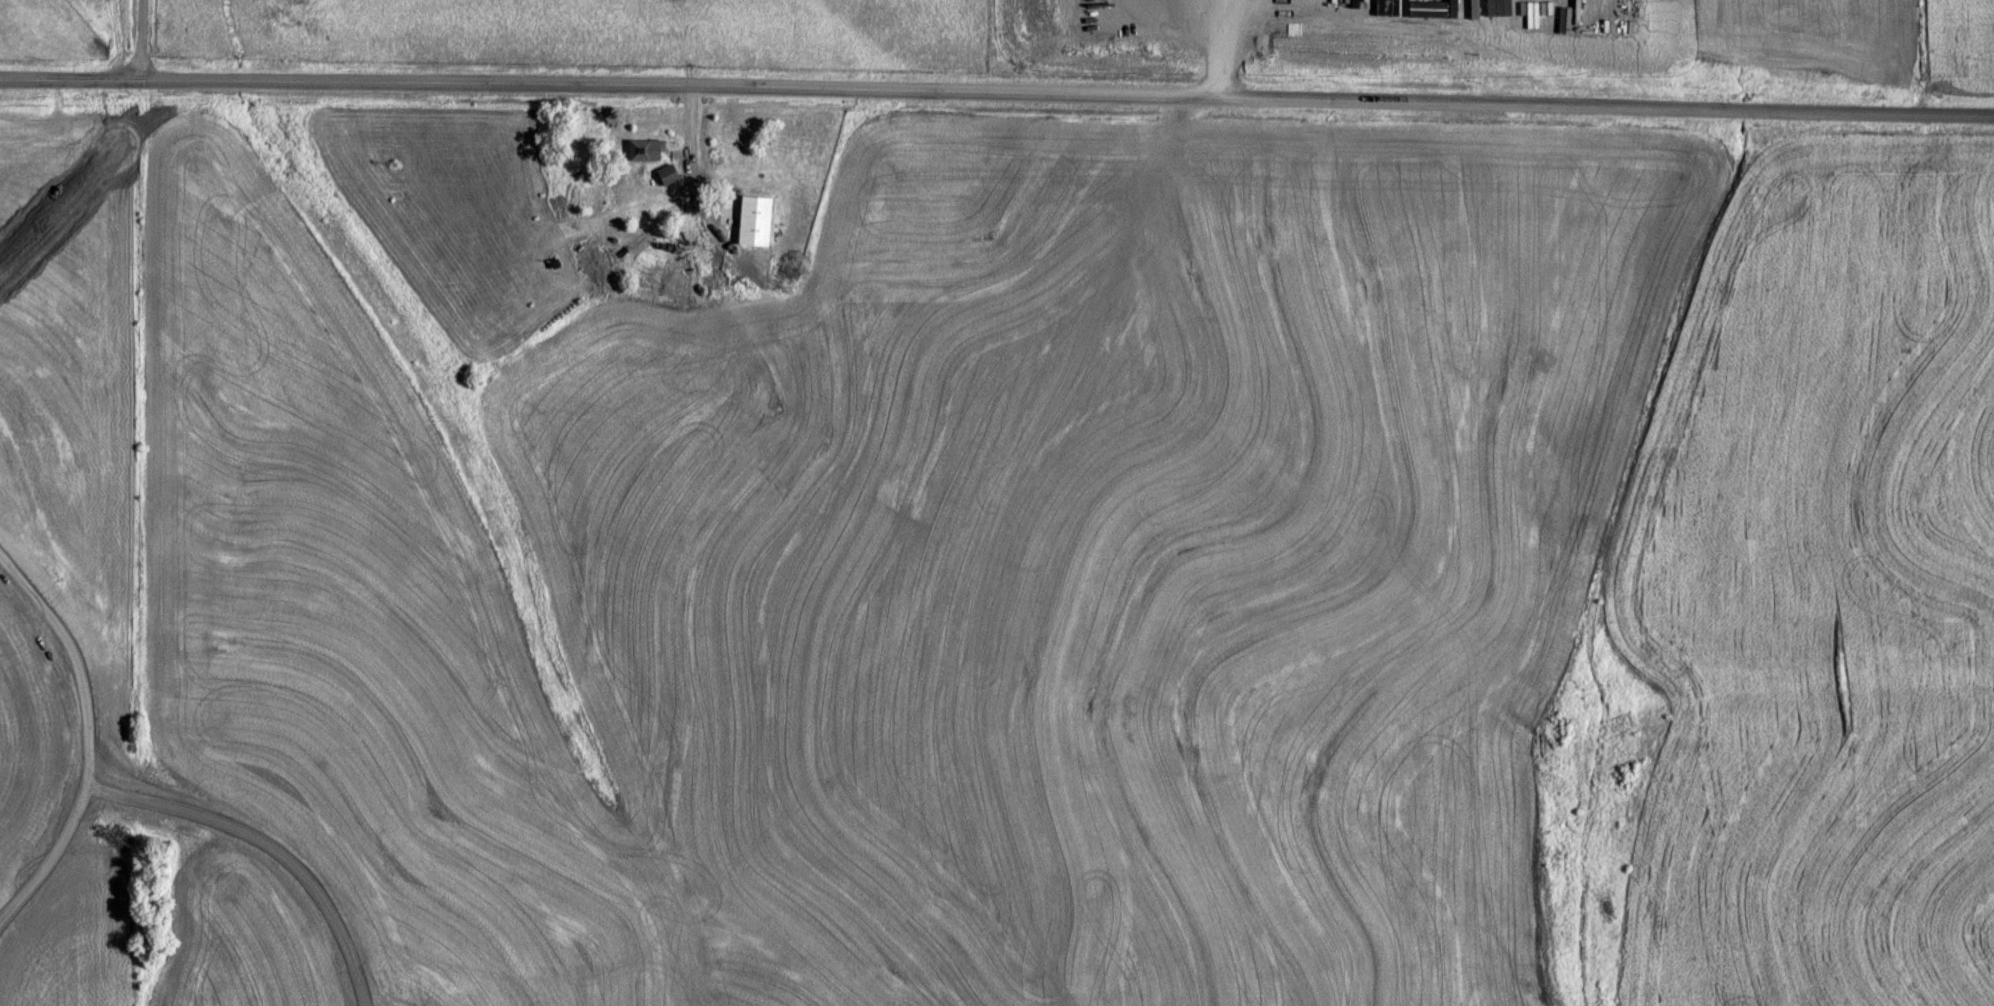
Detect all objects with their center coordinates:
road: (144, 40)
road: (997, 96)
building: (647, 148)
building: (669, 172)
road: (95, 181)
building: (755, 218)
road: (92, 739)

